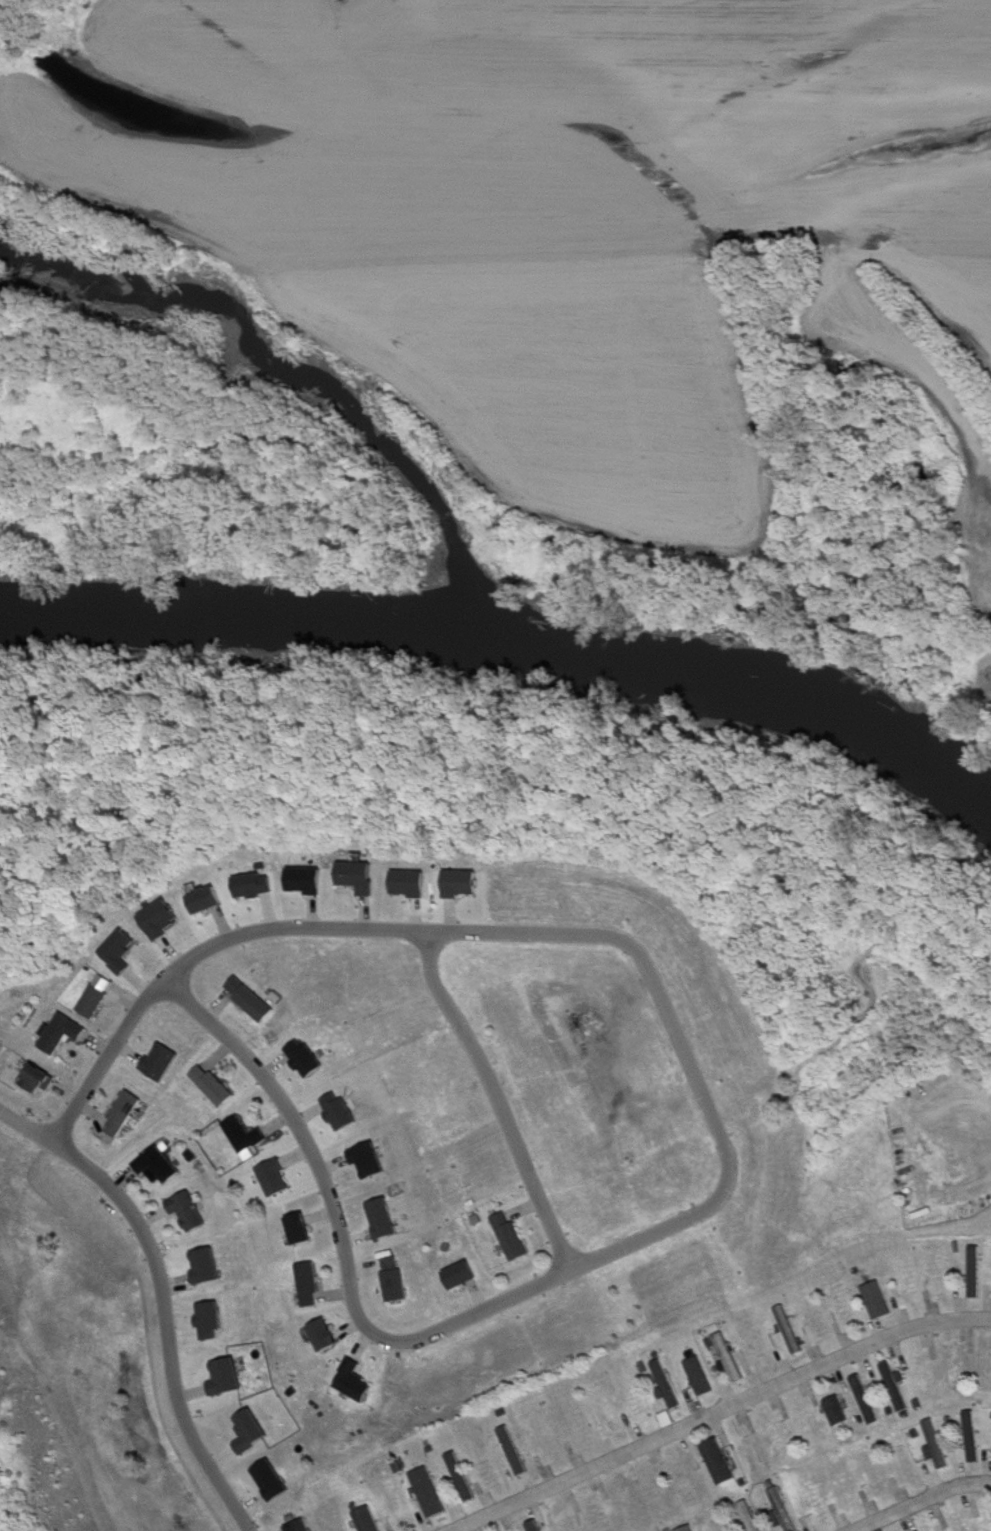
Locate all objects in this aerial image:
river: (513, 634)
road: (191, 951)
building: (247, 999)
building: (90, 1001)
building: (57, 1033)
road: (678, 1050)
building: (31, 1078)
building: (208, 1086)
road: (494, 1100)
building: (117, 1113)
road: (21, 1126)
building: (240, 1135)
building: (151, 1164)
building: (181, 1211)
building: (512, 1237)
road: (335, 1238)
building: (971, 1271)
building: (302, 1284)
road: (153, 1324)
building: (783, 1335)
building: (727, 1357)
building: (698, 1377)
building: (663, 1384)
building: (890, 1387)
building: (861, 1400)
building: (833, 1411)
road: (714, 1414)
building: (605, 1417)
building: (970, 1437)
building: (934, 1444)
building: (715, 1462)
building: (454, 1479)
road: (921, 1503)
building: (780, 1510)
building: (746, 1516)
building: (360, 1520)
building: (290, 1525)
building: (686, 1529)

